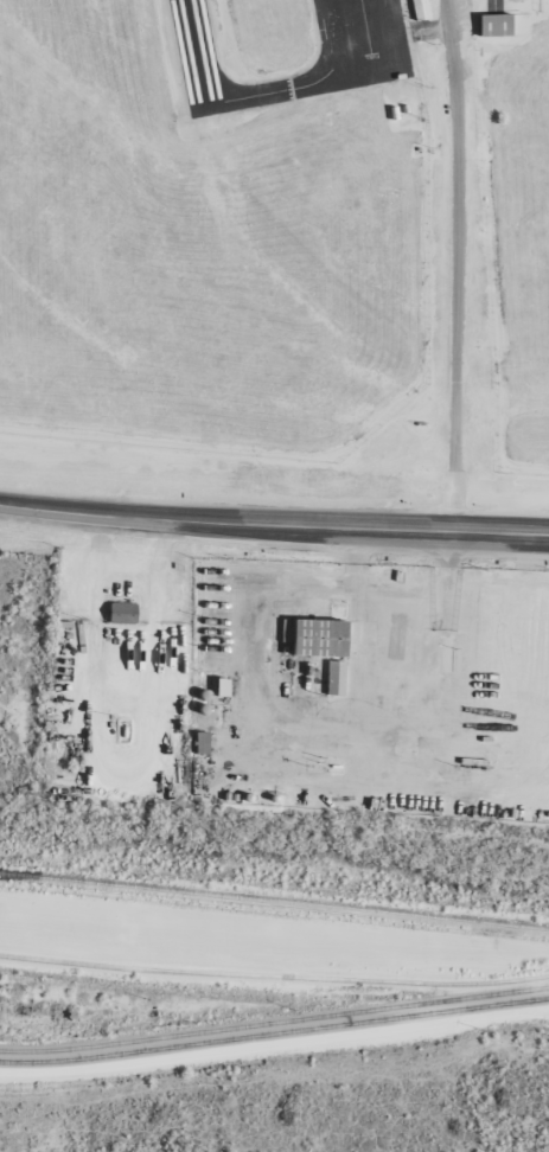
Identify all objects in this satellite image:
building: (419, 9)
building: (494, 24)
airport runway: (193, 52)
airport taxiway: (311, 84)
airport: (279, 225)
road: (454, 264)
road: (211, 518)
road: (486, 531)
building: (119, 613)
building: (320, 646)
building: (218, 686)
building: (199, 742)
railway: (274, 901)
railway: (274, 913)
road: (274, 996)

